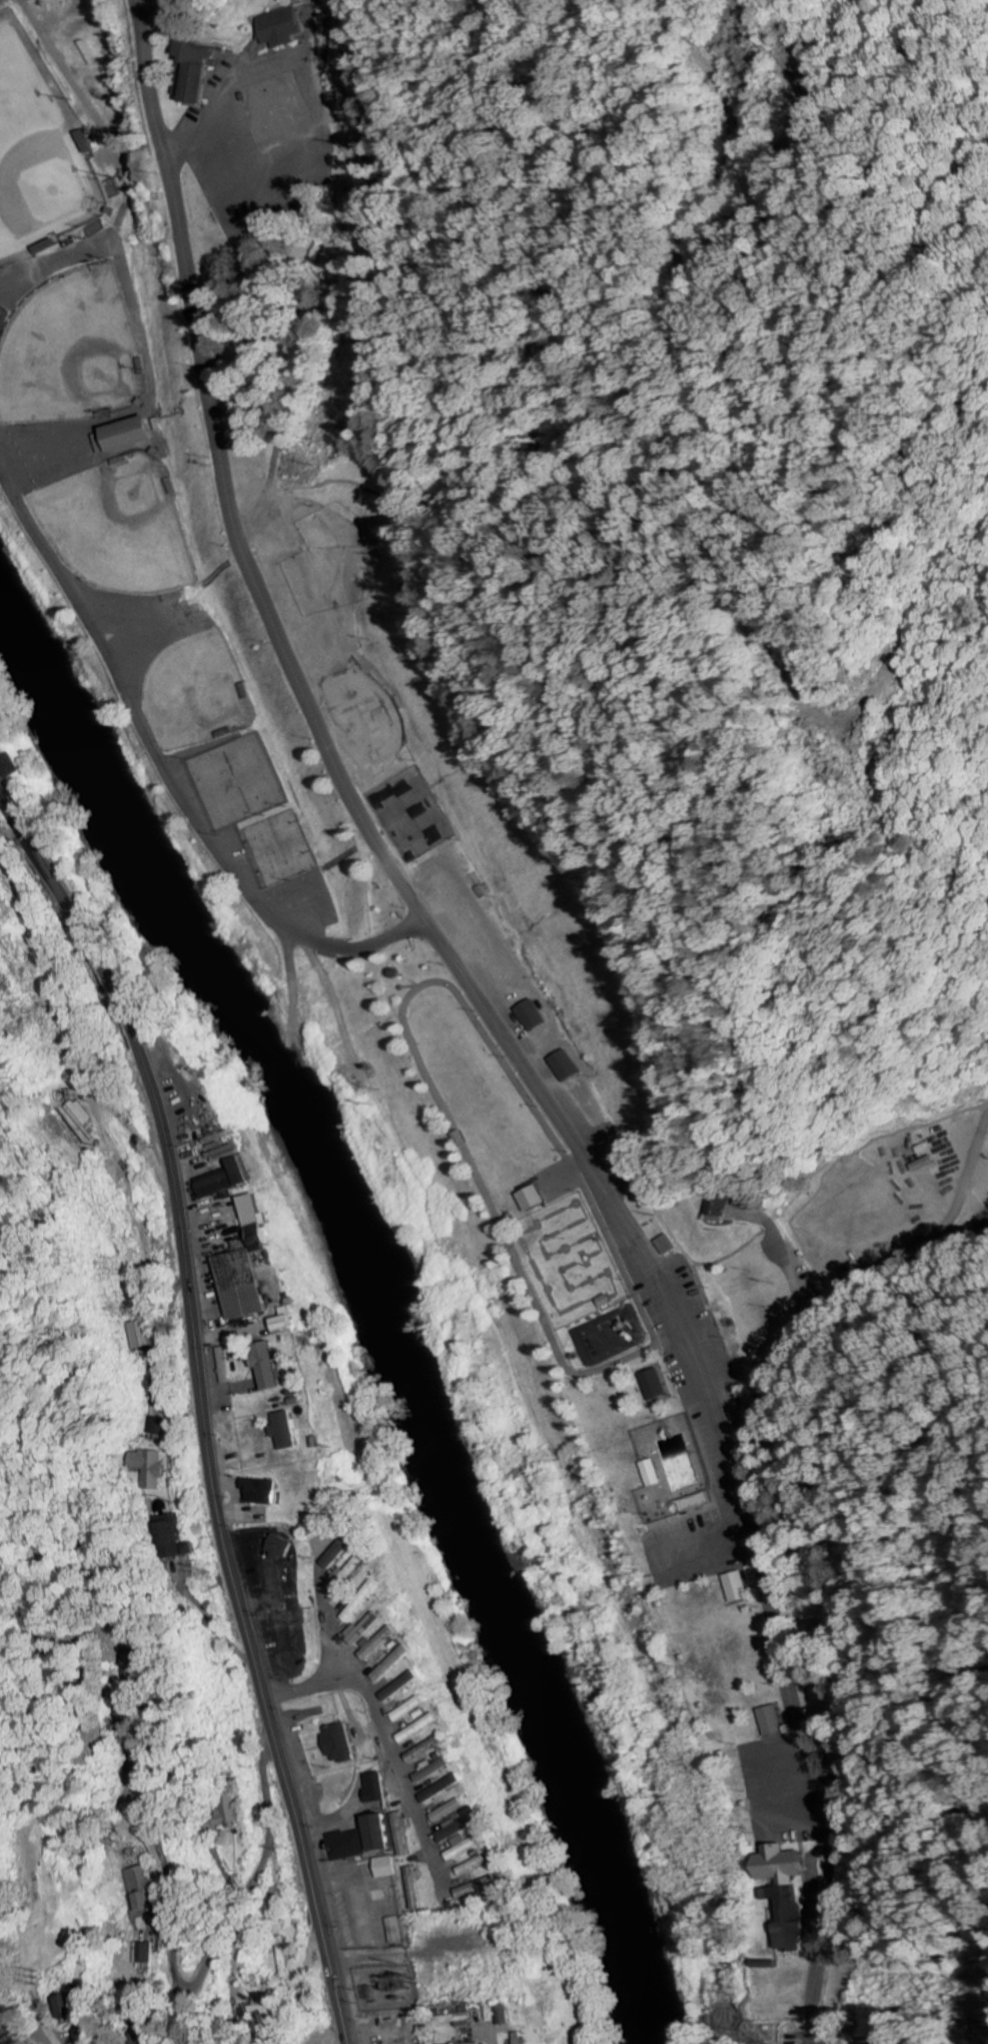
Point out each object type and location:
road: (148, 9)
building: (281, 29)
building: (196, 71)
park: (42, 157)
park: (69, 350)
building: (128, 438)
park: (116, 525)
park: (194, 693)
building: (16, 770)
road: (167, 770)
park: (237, 782)
park: (408, 815)
park: (277, 847)
road: (493, 1023)
building: (566, 1067)
building: (83, 1120)
building: (229, 1180)
track: (529, 1187)
building: (536, 1199)
building: (717, 1206)
building: (251, 1264)
river: (378, 1298)
building: (289, 1320)
building: (142, 1335)
park: (590, 1344)
building: (272, 1366)
building: (657, 1385)
road: (201, 1410)
building: (287, 1431)
building: (150, 1468)
building: (654, 1474)
building: (262, 1491)
building: (177, 1539)
building: (285, 1548)
parking lot: (690, 1549)
building: (343, 1554)
building: (354, 1573)
building: (739, 1588)
building: (355, 1611)
building: (377, 1645)
building: (134, 1654)
building: (395, 1664)
building: (404, 1686)
building: (412, 1709)
building: (773, 1722)
building: (342, 1744)
building: (434, 1770)
building: (377, 1788)
building: (444, 1789)
building: (450, 1811)
building: (229, 1815)
building: (458, 1829)
building: (383, 1834)
building: (403, 1835)
building: (350, 1846)
building: (467, 1846)
building: (474, 1867)
building: (389, 1868)
building: (139, 1888)
building: (480, 1888)
building: (414, 1889)
building: (789, 1893)
building: (398, 1931)
building: (144, 1954)
building: (285, 1963)
building: (771, 1965)
power tower: (41, 1979)
power substation: (387, 1988)
power tower: (746, 1990)
power tower: (969, 2001)
building: (72, 2008)
building: (520, 2038)
building: (477, 2043)

